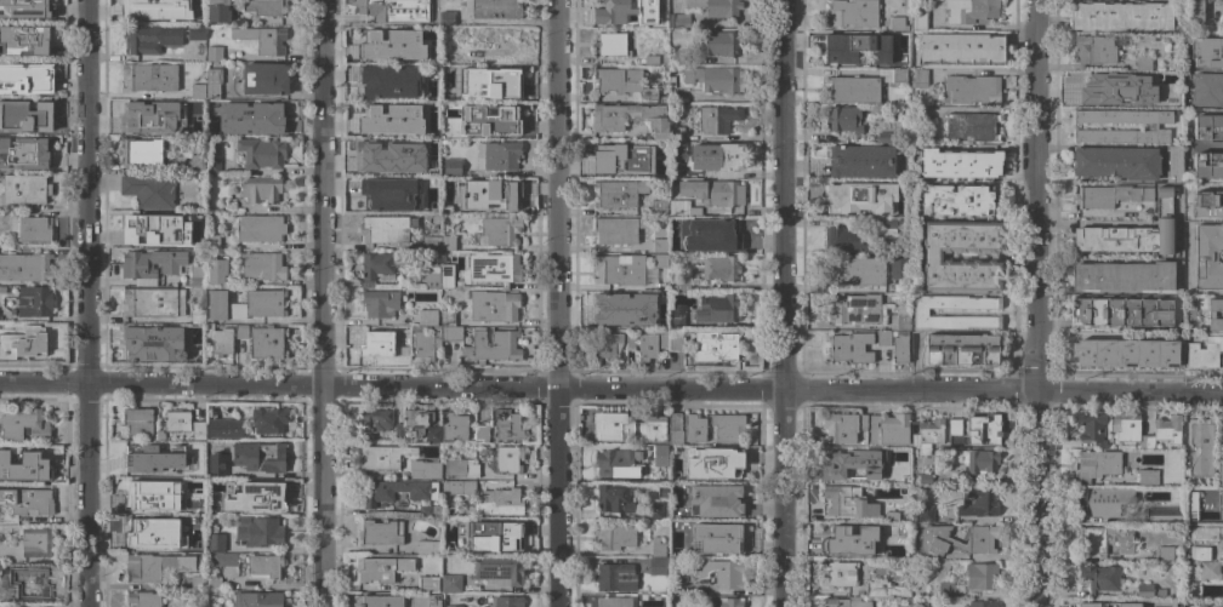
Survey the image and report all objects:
building: (148, 6)
building: (29, 7)
building: (263, 7)
building: (716, 7)
building: (386, 8)
building: (496, 8)
building: (613, 8)
building: (218, 10)
building: (1194, 10)
building: (969, 11)
building: (194, 13)
building: (854, 13)
building: (1120, 16)
building: (432, 18)
building: (446, 18)
building: (918, 18)
building: (655, 21)
building: (678, 22)
building: (897, 23)
building: (426, 30)
building: (194, 32)
building: (456, 33)
building: (888, 36)
building: (150, 38)
building: (262, 39)
building: (23, 40)
building: (611, 44)
building: (718, 44)
building: (500, 45)
building: (383, 46)
building: (961, 48)
building: (1097, 48)
building: (843, 52)
building: (214, 53)
building: (1207, 53)
building: (459, 57)
building: (678, 57)
building: (650, 59)
building: (1143, 63)
road: (988, 73)
building: (25, 76)
building: (148, 76)
building: (375, 78)
building: (918, 78)
building: (264, 79)
building: (715, 79)
building: (496, 80)
building: (671, 81)
building: (621, 82)
building: (212, 84)
building: (426, 84)
building: (860, 86)
building: (1102, 86)
building: (972, 88)
building: (1206, 88)
building: (1173, 90)
building: (197, 91)
building: (455, 93)
building: (427, 95)
building: (679, 97)
building: (918, 113)
building: (29, 114)
building: (148, 116)
building: (263, 116)
building: (383, 116)
building: (507, 119)
building: (717, 119)
building: (843, 120)
building: (212, 125)
building: (1207, 125)
building: (198, 126)
building: (607, 126)
building: (1154, 126)
building: (432, 127)
building: (971, 127)
building: (676, 133)
building: (884, 137)
road: (741, 138)
building: (34, 151)
building: (387, 151)
building: (144, 153)
building: (261, 153)
building: (497, 155)
building: (923, 155)
building: (195, 156)
building: (613, 156)
building: (717, 156)
building: (844, 158)
building: (1116, 162)
building: (1174, 164)
building: (212, 165)
building: (974, 165)
building: (1207, 165)
building: (427, 166)
building: (451, 167)
building: (654, 172)
building: (888, 172)
building: (884, 184)
building: (24, 189)
building: (260, 189)
building: (149, 190)
building: (377, 191)
road: (553, 193)
building: (619, 193)
building: (713, 193)
building: (487, 195)
building: (1109, 195)
building: (846, 196)
building: (1194, 196)
building: (1221, 197)
building: (956, 200)
building: (425, 202)
building: (231, 206)
building: (659, 206)
building: (682, 207)
building: (887, 211)
building: (1147, 211)
building: (1213, 212)
building: (888, 225)
building: (150, 227)
building: (32, 228)
building: (260, 228)
building: (386, 229)
building: (717, 229)
building: (618, 230)
building: (499, 231)
building: (1132, 233)
building: (197, 241)
building: (211, 241)
building: (848, 241)
building: (432, 244)
building: (446, 244)
building: (660, 245)
building: (681, 245)
building: (190, 252)
building: (933, 256)
building: (1207, 257)
building: (442, 258)
building: (660, 260)
building: (381, 263)
building: (150, 264)
building: (261, 265)
building: (25, 267)
building: (494, 268)
building: (719, 268)
building: (619, 269)
building: (216, 270)
building: (865, 271)
road: (1187, 274)
building: (197, 275)
building: (446, 276)
building: (1122, 277)
building: (431, 279)
building: (682, 286)
building: (897, 287)
building: (34, 300)
road: (84, 303)
road: (320, 303)
building: (379, 303)
road: (783, 303)
road: (1042, 303)
building: (160, 304)
building: (245, 304)
building: (493, 305)
building: (618, 307)
building: (717, 309)
building: (854, 310)
building: (920, 313)
building: (1120, 313)
building: (1189, 313)
building: (676, 315)
building: (1211, 315)
building: (427, 317)
building: (446, 317)
building: (462, 317)
building: (899, 320)
building: (656, 321)
building: (1173, 331)
building: (240, 332)
building: (450, 333)
building: (882, 338)
building: (200, 340)
building: (423, 342)
building: (630, 342)
building: (662, 342)
building: (146, 343)
building: (267, 343)
building: (675, 343)
building: (24, 344)
building: (607, 344)
building: (381, 345)
building: (715, 345)
building: (493, 347)
building: (647, 347)
building: (899, 347)
building: (849, 348)
building: (960, 350)
building: (1204, 353)
building: (1091, 354)
building: (1153, 355)
building: (1222, 360)
road: (15, 383)
road: (626, 388)
building: (268, 419)
building: (176, 420)
building: (417, 420)
building: (135, 422)
building: (863, 422)
building: (374, 423)
building: (23, 424)
building: (453, 425)
building: (507, 425)
building: (954, 425)
building: (611, 426)
building: (224, 428)
building: (652, 428)
building: (694, 428)
building: (728, 428)
building: (838, 428)
building: (889, 428)
building: (675, 429)
building: (1092, 429)
building: (1125, 429)
building: (197, 430)
building: (983, 430)
building: (480, 433)
building: (397, 434)
building: (432, 435)
building: (927, 435)
building: (1201, 447)
building: (138, 454)
building: (660, 456)
building: (258, 457)
building: (382, 457)
building: (508, 459)
building: (724, 462)
building: (973, 462)
building: (835, 463)
building: (216, 464)
building: (616, 464)
building: (1097, 464)
building: (24, 468)
building: (460, 468)
building: (187, 469)
building: (422, 469)
building: (681, 475)
building: (1147, 475)
building: (1219, 475)
building: (895, 479)
building: (457, 487)
building: (392, 491)
building: (662, 491)
building: (146, 492)
building: (266, 493)
road: (553, 496)
building: (613, 498)
building: (723, 499)
building: (501, 500)
building: (847, 500)
building: (1102, 500)
building: (27, 502)
building: (216, 503)
building: (975, 503)
building: (1221, 505)
building: (194, 506)
building: (428, 510)
building: (653, 510)
building: (681, 511)
building: (925, 514)
building: (1162, 514)
building: (912, 515)
building: (891, 516)
building: (1202, 516)
building: (437, 520)
building: (461, 525)
building: (148, 527)
building: (256, 531)
building: (379, 532)
building: (615, 534)
building: (500, 536)
building: (837, 537)
building: (716, 539)
building: (937, 540)
building: (1104, 540)
building: (36, 542)
building: (215, 543)
building: (184, 545)
building: (427, 548)
building: (656, 548)
building: (677, 549)
building: (454, 550)
building: (1200, 552)
building: (1165, 554)
building: (224, 562)
building: (157, 566)
building: (264, 566)
building: (658, 566)
building: (380, 568)
building: (499, 571)
building: (1207, 571)
building: (719, 573)
building: (843, 573)
building: (980, 575)
building: (615, 577)
building: (1100, 578)
building: (32, 579)
building: (212, 579)
building: (198, 582)
building: (450, 583)
building: (428, 584)
building: (886, 589)
building: (945, 589)
building: (1143, 591)
building: (143, 599)
building: (257, 600)
building: (423, 600)
building: (377, 601)
building: (507, 601)
building: (613, 601)
building: (729, 602)
building: (844, 602)
building: (979, 603)
building: (1093, 603)
building: (1126, 605)
building: (454, 606)

